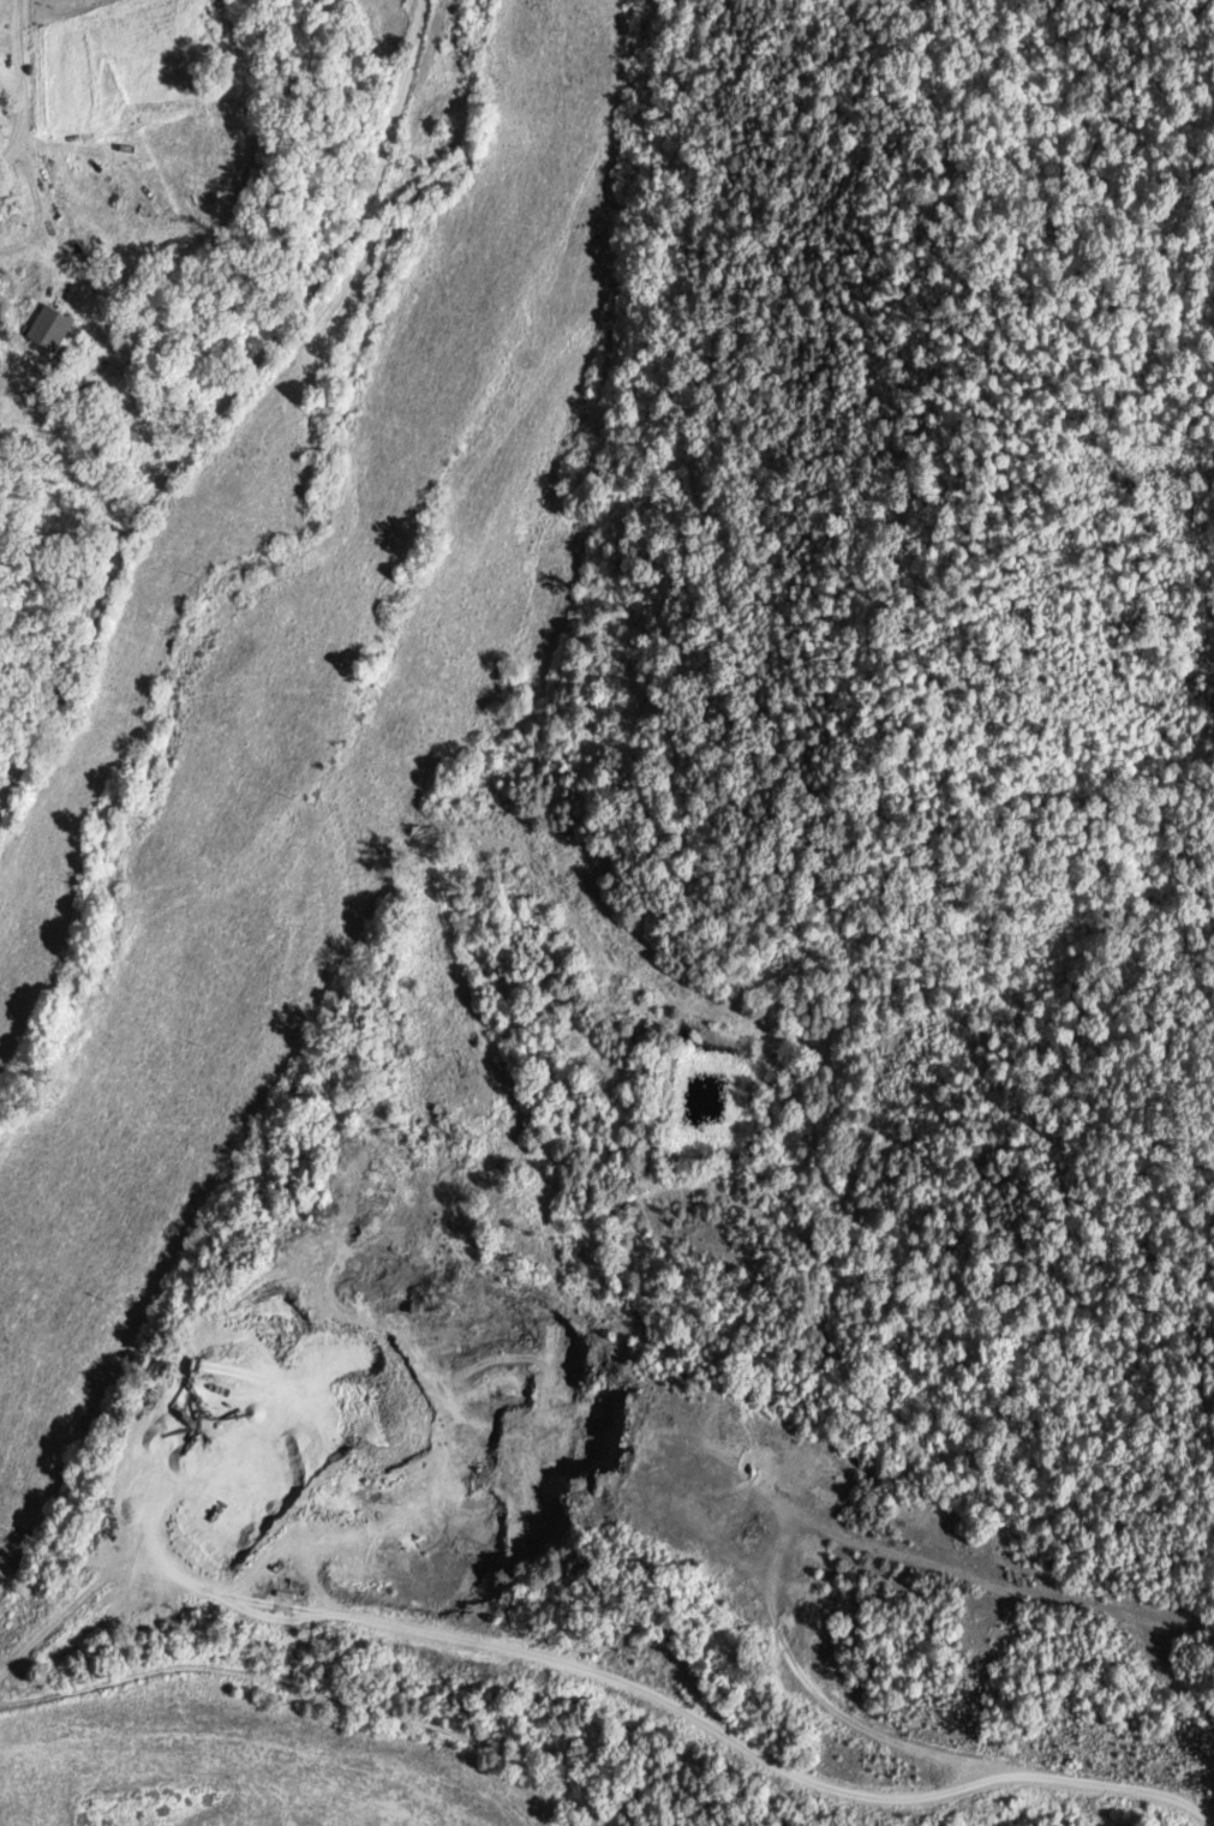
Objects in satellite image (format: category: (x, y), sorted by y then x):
road: (13, 76)
building: (60, 325)
road: (195, 351)
road: (581, 1460)

